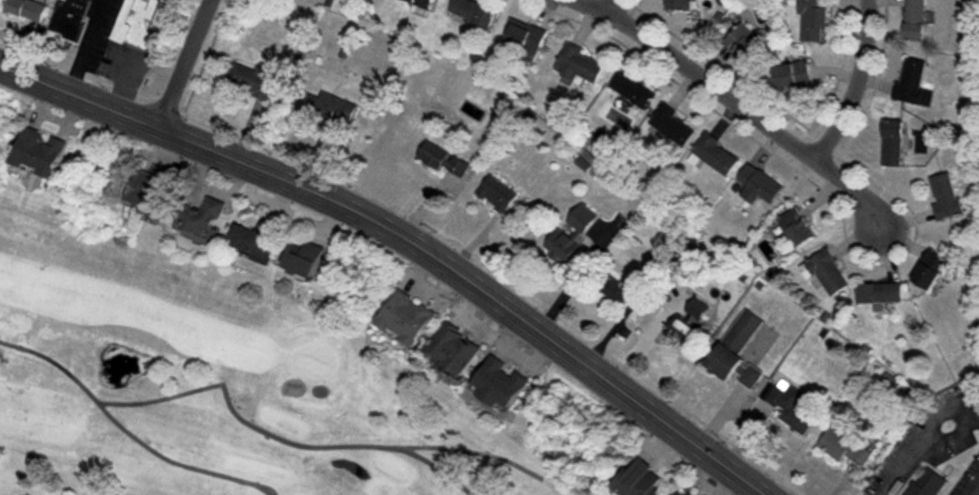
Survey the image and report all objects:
building: (422, 2)
building: (681, 4)
road: (608, 6)
building: (26, 8)
building: (473, 11)
building: (69, 17)
building: (812, 19)
building: (914, 19)
building: (137, 24)
building: (526, 38)
building: (743, 43)
road: (88, 47)
building: (578, 64)
road: (185, 65)
building: (794, 75)
road: (697, 76)
building: (251, 79)
building: (913, 83)
road: (854, 84)
building: (632, 89)
road: (79, 97)
building: (328, 106)
building: (672, 125)
building: (892, 142)
building: (42, 152)
building: (713, 154)
building: (443, 158)
building: (759, 184)
road: (855, 186)
building: (150, 192)
building: (498, 193)
building: (946, 196)
building: (202, 217)
building: (583, 218)
building: (798, 227)
building: (257, 237)
building: (562, 246)
building: (305, 259)
building: (931, 269)
building: (826, 271)
road: (475, 283)
building: (623, 293)
building: (880, 294)
building: (408, 318)
building: (681, 329)
building: (455, 349)
building: (737, 350)
building: (502, 382)
park: (213, 390)
building: (790, 405)
road: (958, 416)
building: (844, 445)
road: (902, 467)
building: (641, 479)
building: (925, 483)
building: (682, 492)

